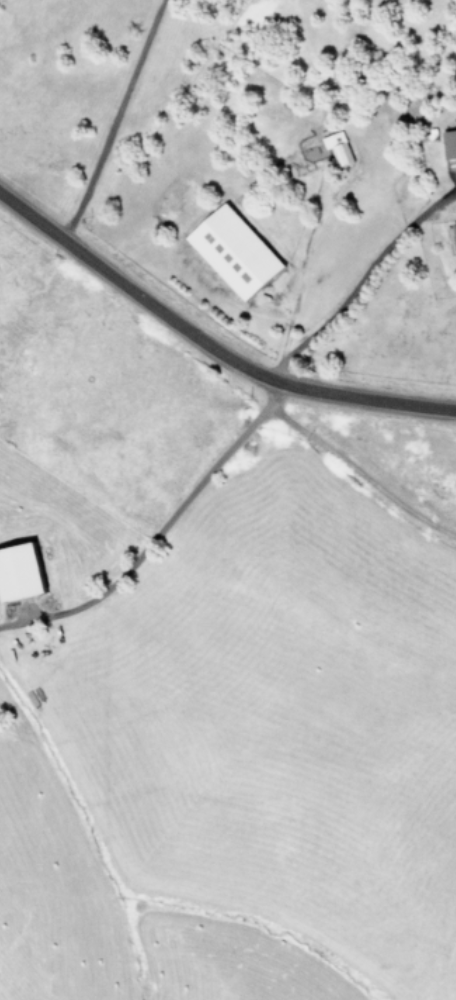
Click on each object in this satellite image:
building: (448, 144)
building: (335, 148)
building: (454, 231)
building: (233, 252)
road: (351, 285)
road: (208, 353)
crop: (230, 533)
road: (150, 537)
building: (18, 572)

